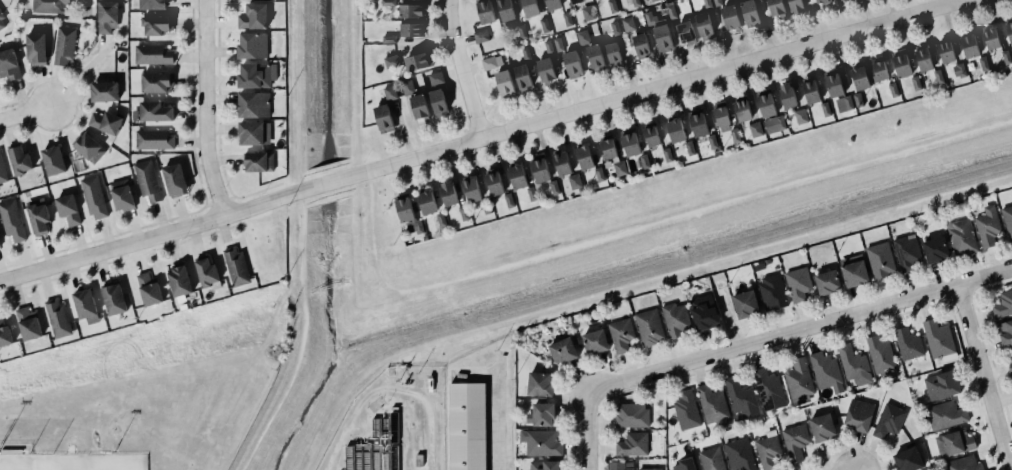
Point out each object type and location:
building: (237, 0)
building: (655, 0)
building: (841, 0)
building: (576, 1)
building: (717, 1)
building: (823, 2)
building: (387, 3)
building: (635, 3)
building: (707, 4)
building: (152, 5)
building: (553, 5)
building: (48, 6)
building: (612, 6)
building: (796, 6)
road: (85, 8)
building: (529, 8)
building: (777, 8)
building: (410, 9)
building: (504, 10)
building: (671, 11)
building: (484, 12)
building: (588, 13)
building: (749, 13)
building: (106, 16)
building: (253, 17)
building: (729, 17)
building: (567, 19)
building: (1, 22)
building: (628, 24)
building: (155, 25)
building: (545, 25)
building: (703, 26)
building: (615, 28)
building: (410, 30)
building: (1009, 30)
building: (522, 32)
building: (685, 33)
building: (660, 34)
building: (481, 36)
building: (583, 36)
building: (990, 37)
building: (388, 39)
building: (558, 43)
building: (64, 44)
building: (639, 45)
building: (968, 45)
building: (253, 46)
building: (549, 47)
building: (35, 48)
building: (946, 51)
building: (526, 54)
building: (613, 54)
building: (154, 55)
building: (1007, 57)
building: (596, 58)
building: (924, 60)
building: (417, 61)
building: (492, 62)
building: (573, 64)
building: (984, 64)
building: (9, 65)
building: (902, 66)
road: (460, 69)
building: (878, 69)
building: (546, 70)
building: (959, 70)
building: (255, 75)
building: (938, 76)
building: (434, 77)
building: (523, 77)
building: (859, 78)
road: (352, 81)
building: (156, 82)
building: (916, 83)
building: (505, 84)
building: (834, 84)
building: (407, 87)
road: (297, 90)
building: (893, 90)
building: (105, 92)
building: (810, 92)
building: (390, 93)
building: (786, 97)
building: (858, 100)
building: (437, 103)
building: (766, 103)
building: (844, 104)
building: (253, 105)
building: (420, 107)
road: (204, 109)
building: (825, 109)
building: (741, 111)
building: (154, 112)
road: (23, 115)
building: (720, 117)
building: (800, 117)
building: (383, 119)
building: (104, 122)
building: (698, 123)
building: (774, 124)
building: (756, 130)
building: (675, 131)
building: (254, 133)
building: (652, 136)
road: (478, 137)
building: (155, 140)
building: (629, 143)
building: (89, 148)
building: (688, 148)
building: (667, 155)
building: (583, 158)
building: (53, 160)
building: (20, 161)
building: (259, 162)
building: (562, 164)
building: (2, 171)
building: (539, 171)
building: (598, 174)
building: (516, 177)
building: (146, 180)
building: (175, 180)
road: (225, 180)
road: (289, 180)
building: (575, 181)
building: (493, 184)
building: (554, 187)
road: (257, 190)
building: (472, 190)
building: (447, 194)
building: (530, 194)
building: (121, 195)
road: (231, 196)
building: (94, 198)
building: (508, 200)
building: (427, 203)
building: (68, 210)
building: (464, 213)
building: (408, 214)
building: (37, 216)
building: (11, 220)
building: (1007, 220)
building: (988, 226)
building: (962, 237)
building: (934, 250)
building: (906, 253)
building: (881, 260)
building: (236, 266)
building: (206, 273)
building: (853, 274)
building: (179, 281)
building: (826, 282)
building: (799, 284)
road: (631, 288)
building: (149, 290)
building: (772, 292)
building: (114, 299)
building: (746, 304)
building: (1003, 305)
building: (84, 306)
building: (702, 313)
building: (57, 318)
building: (675, 320)
building: (27, 324)
building: (648, 327)
road: (798, 331)
building: (1005, 333)
building: (621, 335)
building: (5, 336)
building: (937, 338)
building: (595, 342)
building: (907, 343)
building: (561, 351)
building: (881, 355)
building: (1010, 357)
building: (853, 365)
building: (826, 372)
road: (981, 378)
building: (539, 384)
building: (942, 385)
building: (769, 390)
building: (740, 398)
building: (711, 405)
building: (685, 410)
road: (501, 412)
building: (541, 415)
building: (631, 415)
building: (859, 415)
building: (944, 415)
building: (889, 421)
wastewater plant: (390, 424)
building: (467, 426)
building: (821, 428)
road: (586, 432)
building: (795, 441)
building: (543, 443)
building: (954, 443)
building: (633, 444)
building: (769, 450)
building: (740, 454)
building: (711, 459)
building: (907, 459)
park: (72, 462)
building: (684, 464)
building: (961, 464)
building: (543, 465)
building: (621, 465)
building: (650, 469)

